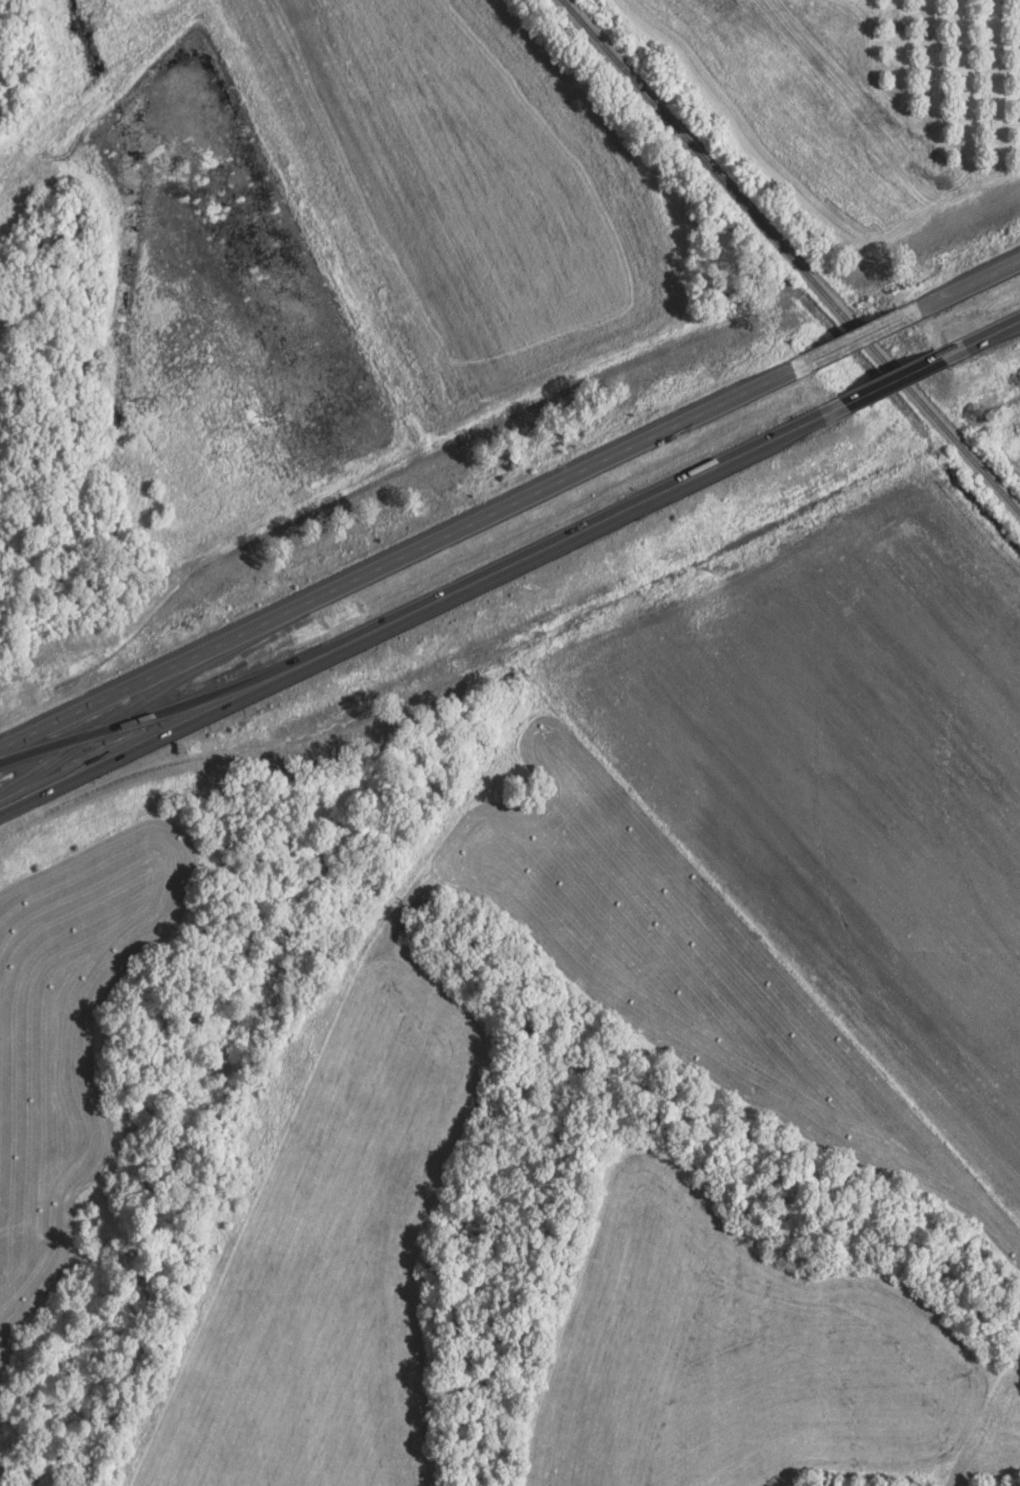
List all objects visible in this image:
railway: (793, 257)
road: (957, 289)
road: (853, 340)
road: (980, 340)
road: (894, 381)
road: (406, 558)
road: (424, 608)

